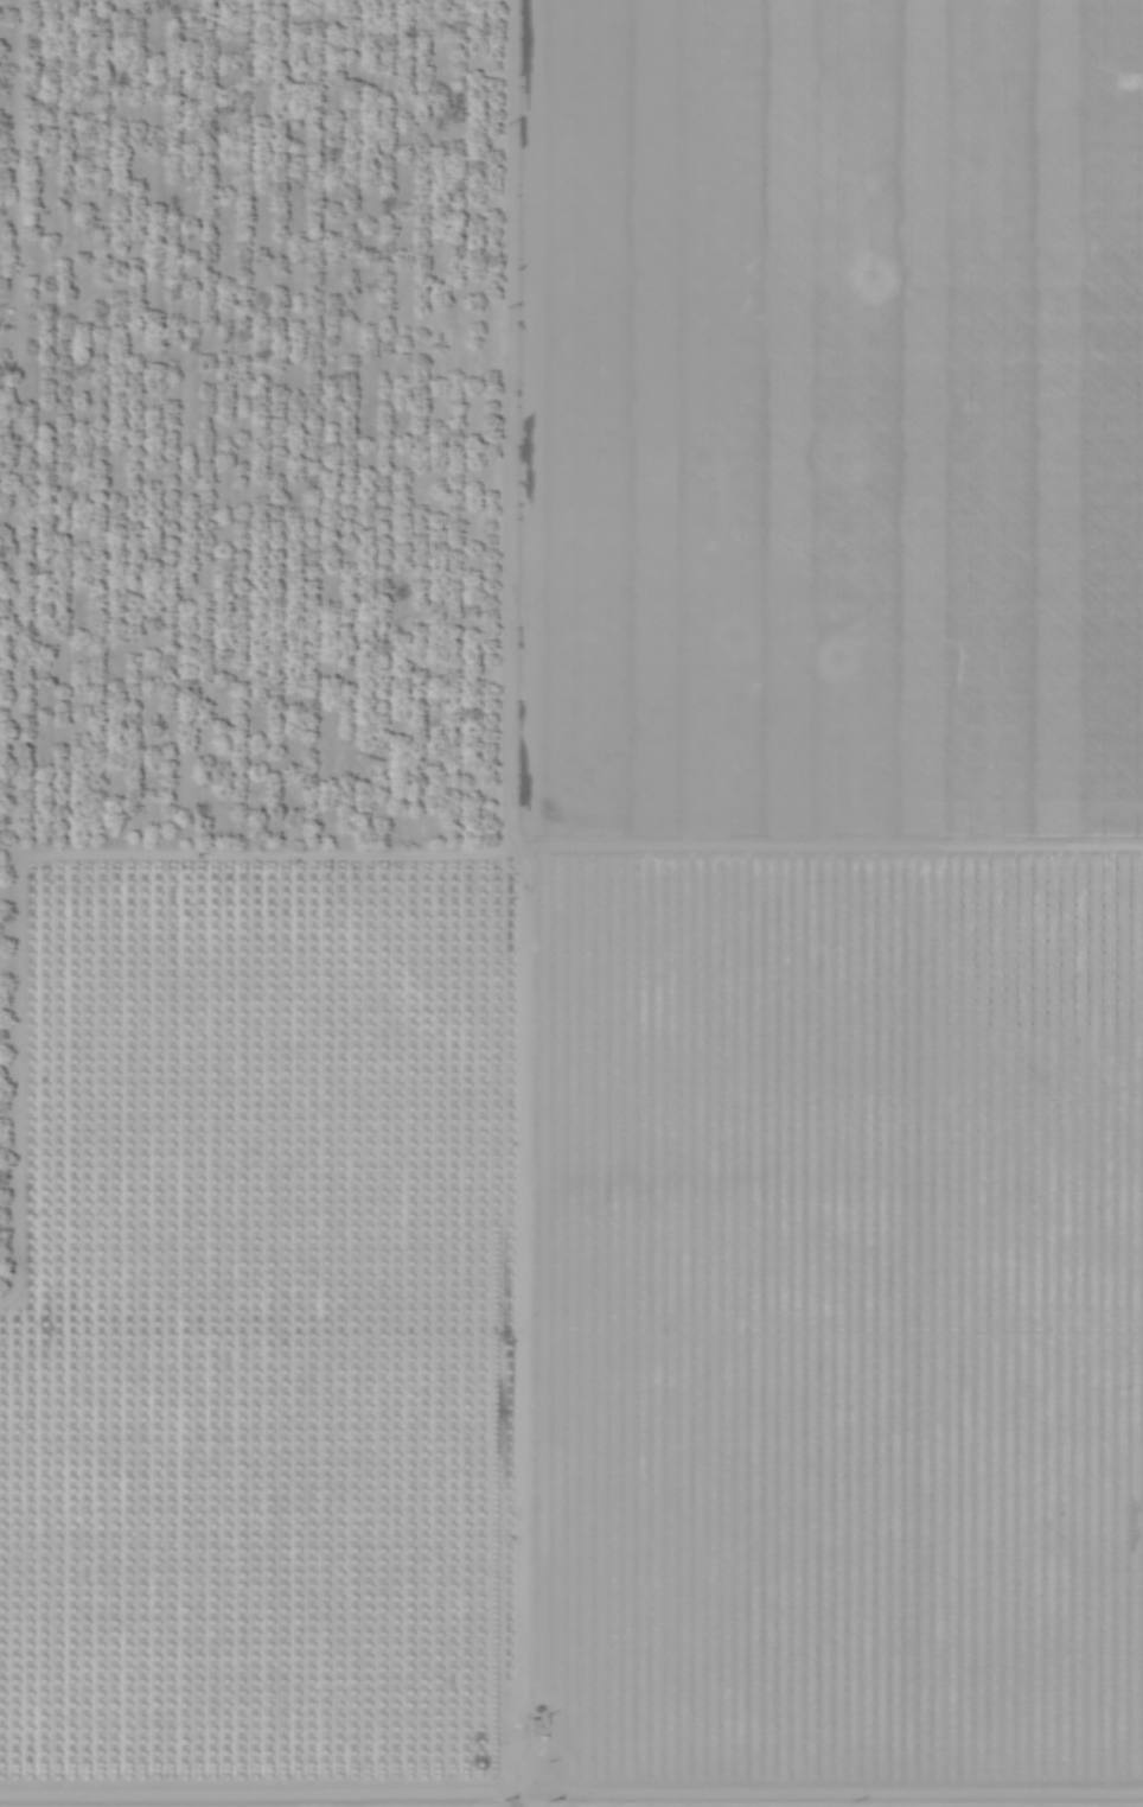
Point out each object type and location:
crop: (570, 899)

